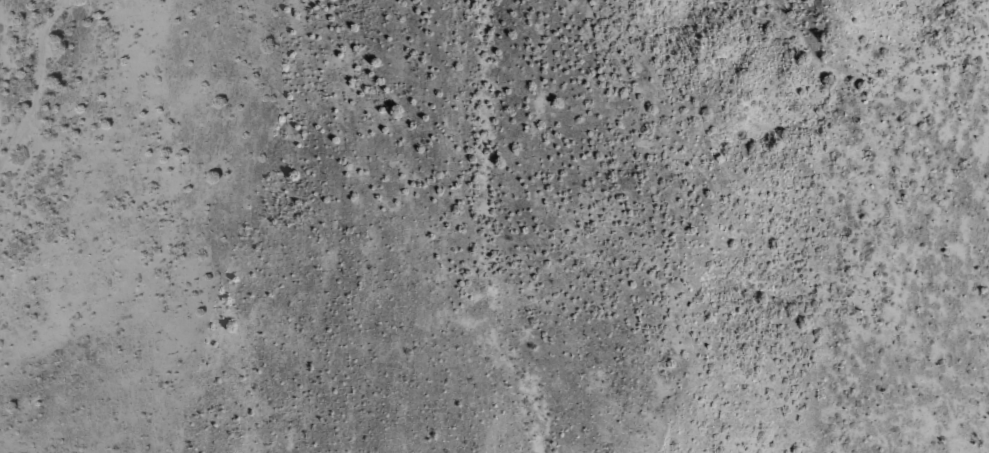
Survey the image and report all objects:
road: (51, 115)

